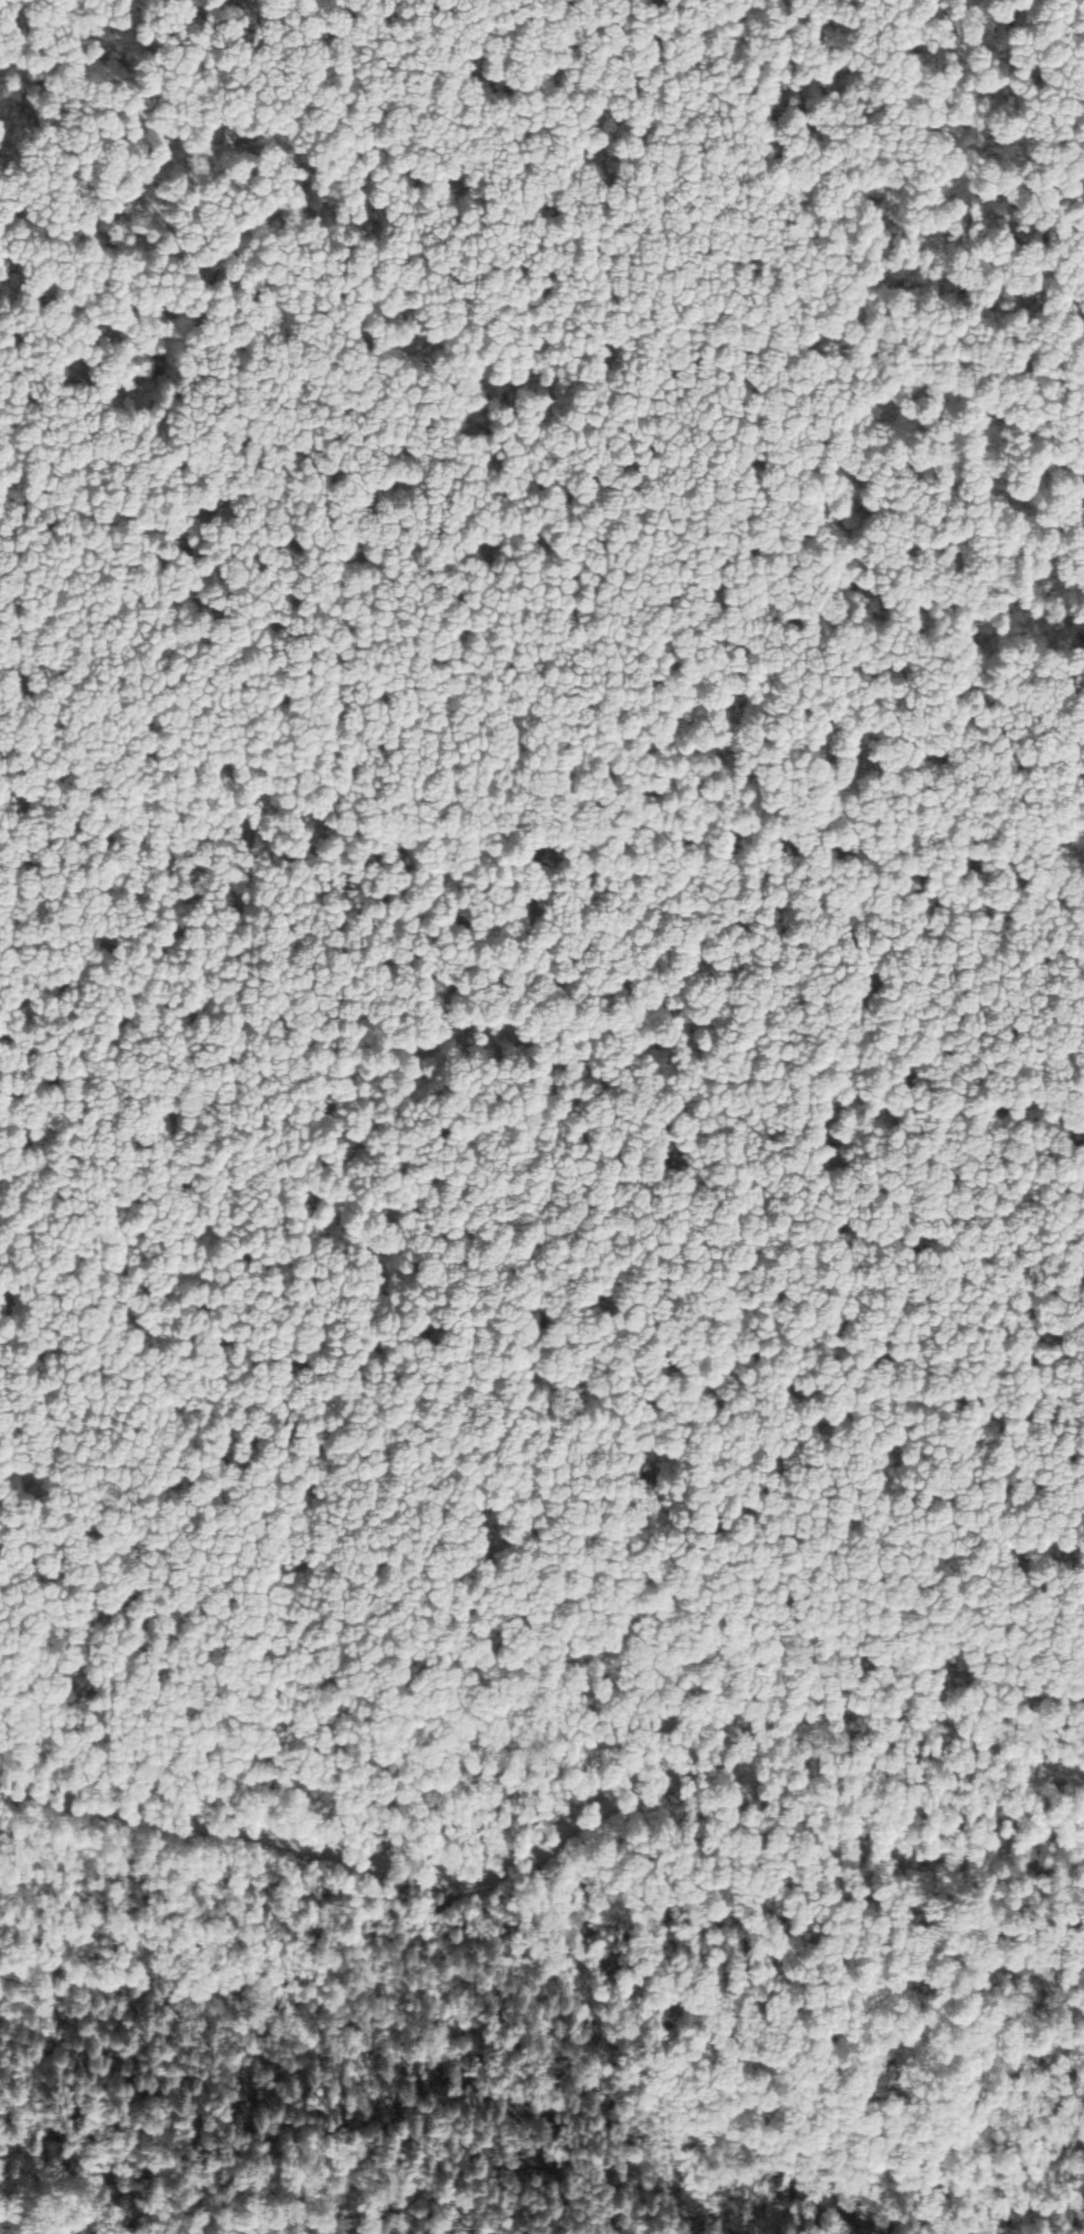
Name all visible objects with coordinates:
road: (551, 1834)

